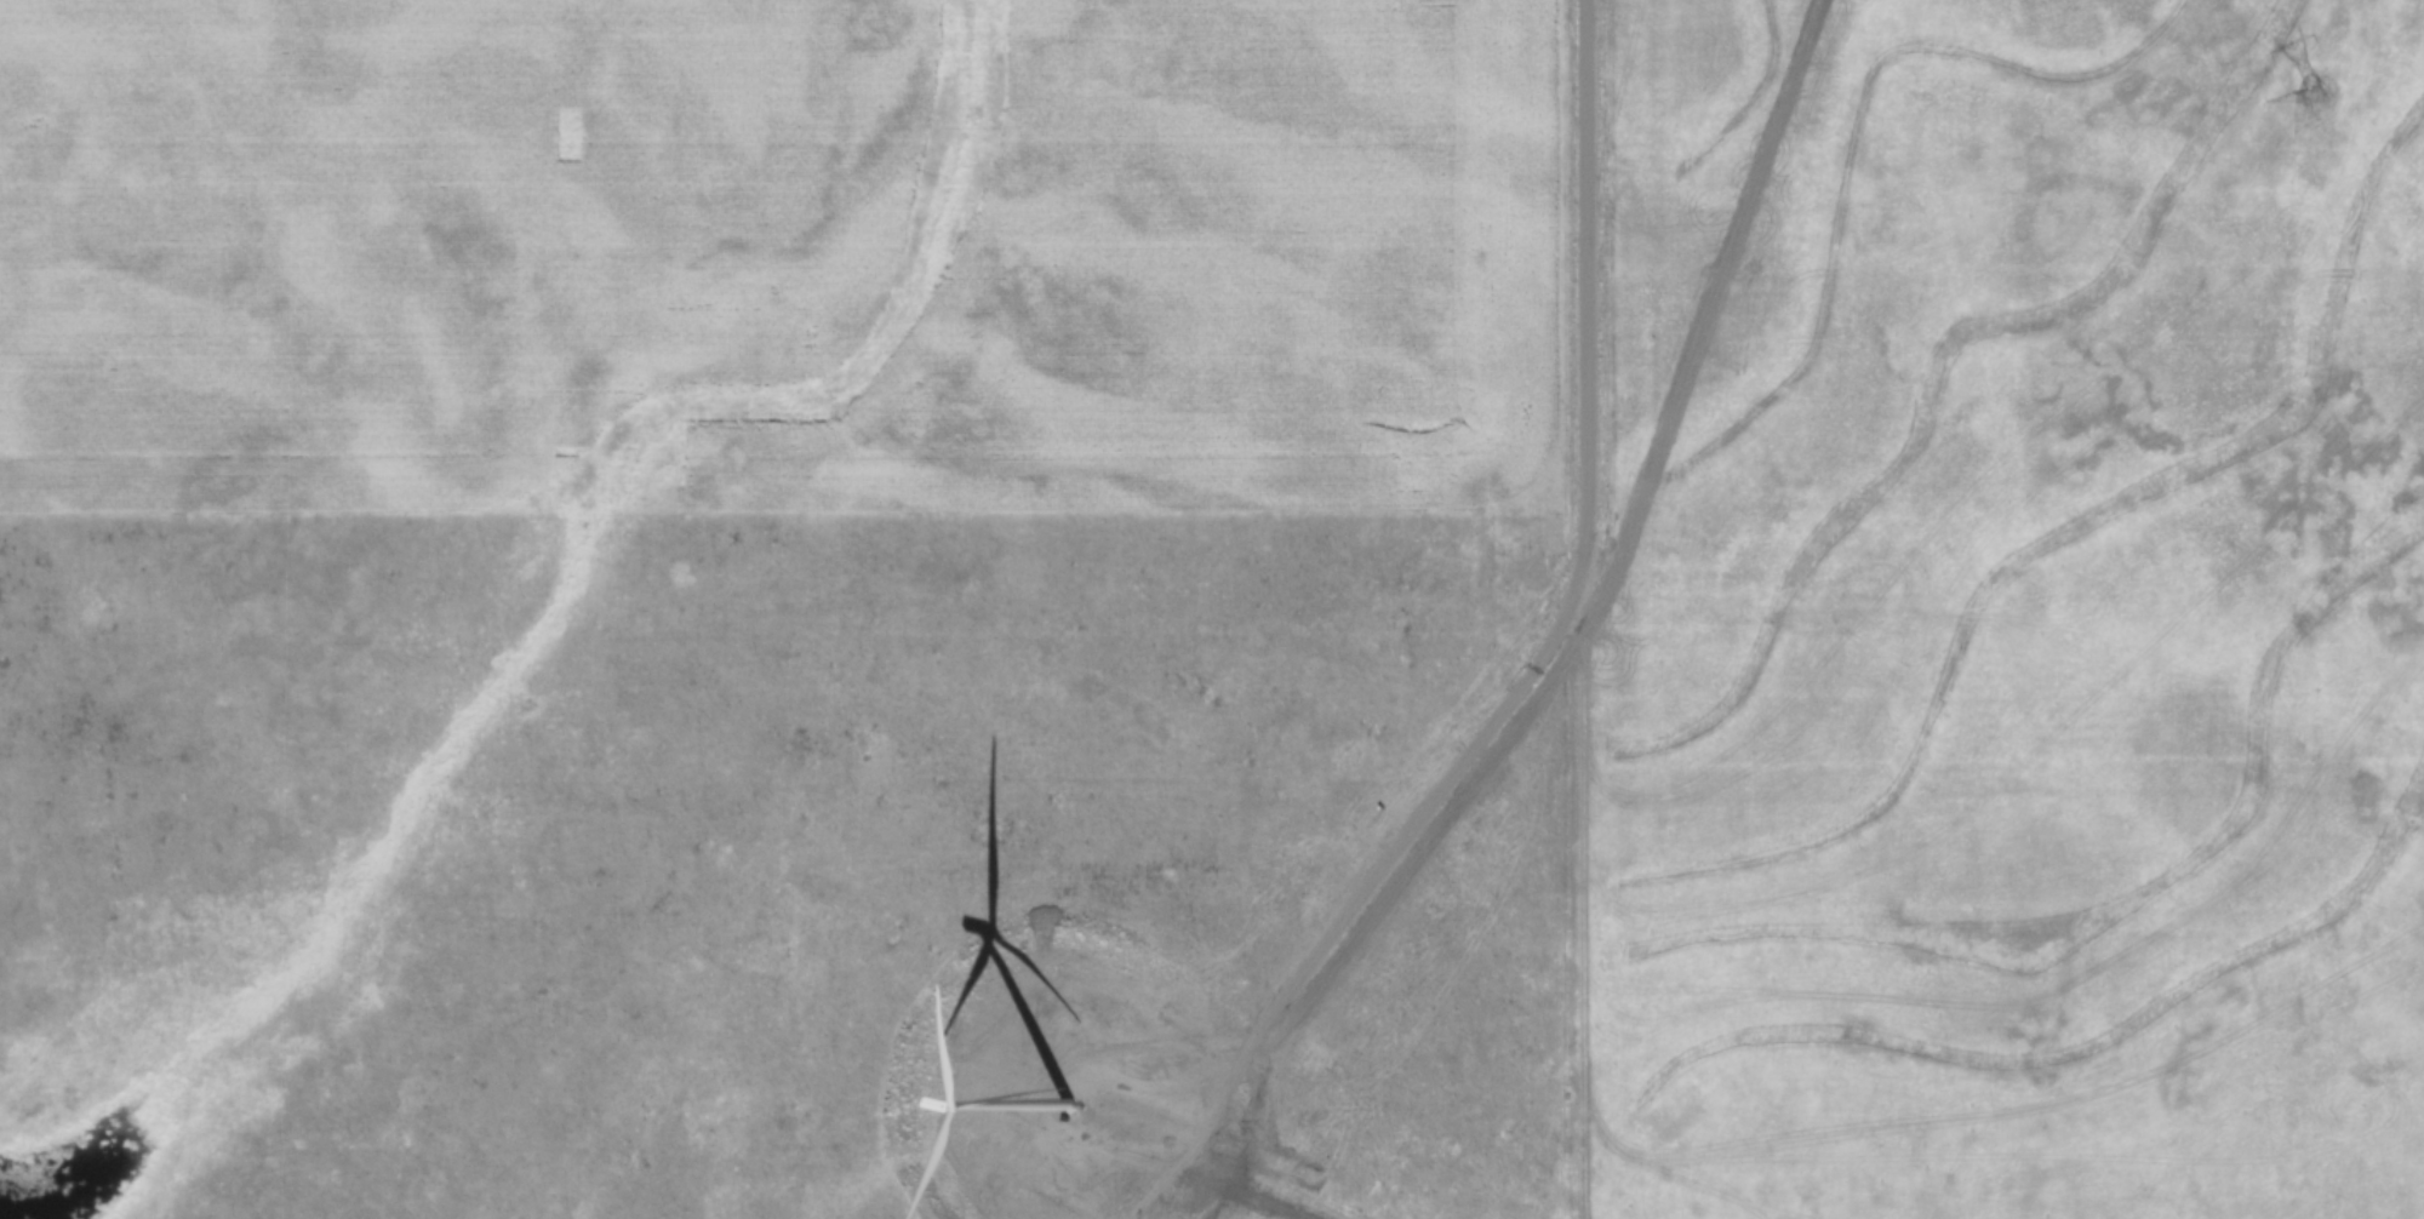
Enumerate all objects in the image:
power tower: (2322, 95)
wind turbine: (1063, 1105)

